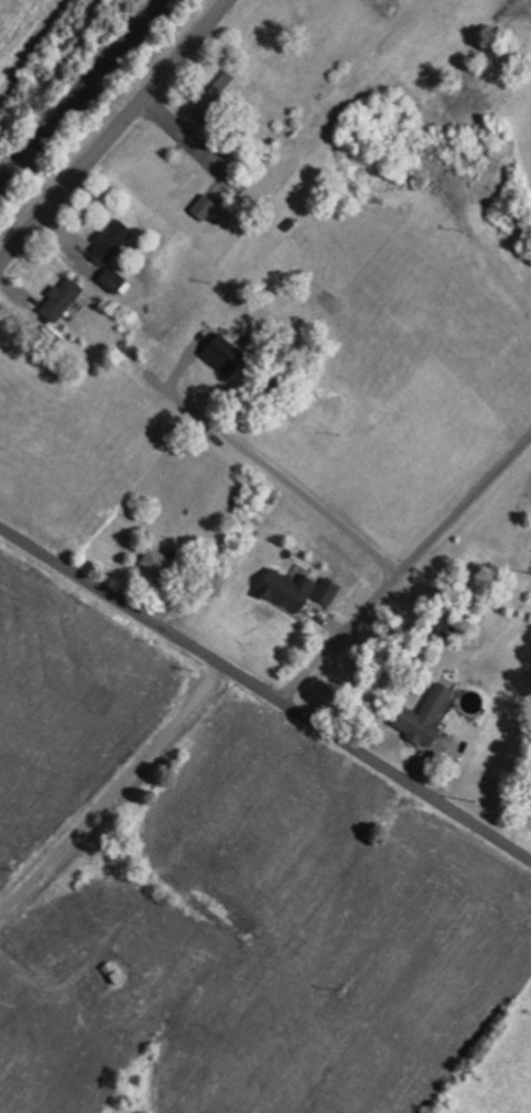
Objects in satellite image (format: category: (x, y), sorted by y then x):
railway: (83, 95)
building: (218, 99)
road: (115, 132)
building: (206, 208)
building: (110, 245)
building: (116, 281)
building: (64, 300)
building: (226, 354)
building: (161, 562)
building: (291, 590)
building: (330, 591)
road: (267, 689)
building: (429, 715)
road: (205, 857)

